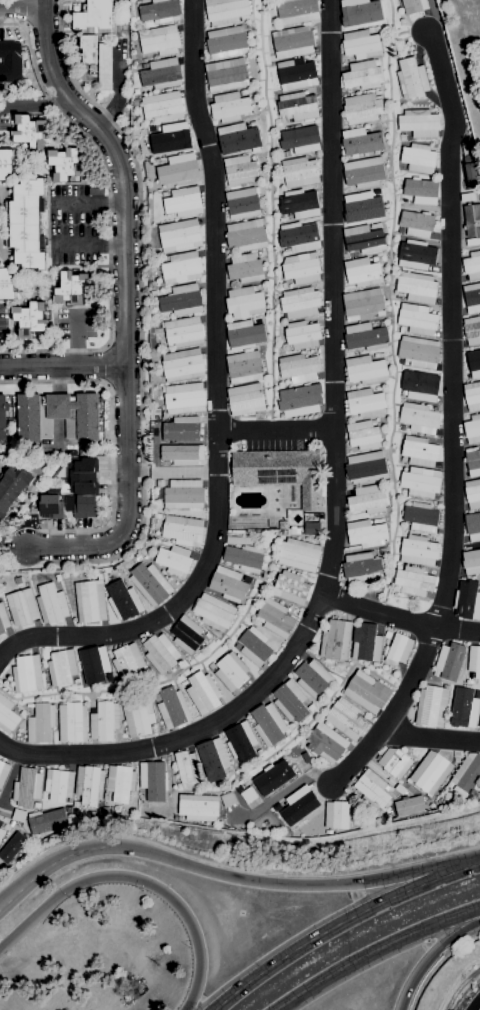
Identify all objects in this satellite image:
building: (414, 6)
road: (21, 9)
building: (225, 10)
building: (160, 11)
building: (297, 11)
building: (360, 12)
road: (24, 13)
building: (93, 17)
building: (375, 29)
building: (159, 40)
building: (226, 42)
building: (293, 42)
building: (407, 43)
building: (361, 44)
building: (88, 48)
building: (10, 61)
building: (104, 66)
building: (161, 73)
building: (226, 74)
building: (296, 74)
building: (362, 75)
building: (411, 78)
building: (0, 85)
building: (377, 91)
building: (135, 101)
road: (33, 106)
building: (162, 106)
building: (229, 106)
building: (297, 106)
building: (362, 108)
building: (419, 123)
building: (29, 131)
building: (238, 137)
building: (402, 137)
building: (171, 138)
building: (300, 139)
building: (362, 141)
building: (467, 145)
building: (286, 154)
building: (418, 158)
building: (6, 163)
building: (65, 164)
building: (178, 169)
building: (240, 170)
building: (300, 172)
building: (363, 172)
building: (472, 175)
building: (375, 191)
building: (164, 193)
building: (421, 193)
building: (467, 197)
road: (90, 200)
building: (183, 201)
building: (243, 202)
building: (299, 203)
building: (362, 207)
road: (109, 214)
building: (282, 219)
building: (472, 220)
building: (417, 223)
building: (27, 224)
building: (401, 231)
building: (179, 235)
building: (246, 235)
building: (298, 237)
building: (365, 238)
road: (89, 242)
building: (416, 254)
building: (374, 258)
road: (124, 262)
building: (472, 265)
building: (181, 267)
building: (245, 268)
building: (301, 268)
building: (362, 272)
building: (7, 284)
building: (71, 287)
building: (416, 287)
building: (472, 297)
building: (182, 300)
building: (244, 301)
building: (300, 302)
building: (363, 304)
building: (30, 318)
building: (417, 319)
building: (401, 329)
building: (472, 330)
building: (183, 331)
building: (245, 334)
building: (302, 334)
building: (366, 336)
building: (418, 352)
building: (378, 355)
building: (469, 362)
building: (182, 364)
road: (103, 365)
road: (63, 366)
building: (244, 366)
building: (298, 368)
building: (365, 369)
building: (420, 386)
building: (378, 388)
building: (472, 395)
building: (184, 398)
building: (245, 399)
building: (300, 400)
road: (215, 401)
building: (365, 402)
building: (57, 416)
building: (3, 417)
building: (418, 418)
road: (451, 421)
building: (472, 429)
building: (180, 430)
road: (275, 430)
building: (363, 434)
building: (419, 451)
building: (182, 456)
building: (472, 461)
building: (366, 467)
building: (280, 471)
road: (172, 473)
building: (80, 477)
building: (420, 481)
building: (160, 483)
building: (12, 486)
road: (334, 493)
building: (403, 493)
building: (472, 493)
building: (183, 494)
building: (367, 499)
building: (51, 505)
building: (82, 506)
road: (141, 515)
building: (420, 516)
building: (283, 525)
building: (473, 525)
building: (311, 528)
building: (182, 530)
building: (291, 530)
building: (250, 531)
building: (256, 531)
building: (366, 532)
building: (148, 540)
road: (68, 543)
road: (13, 544)
building: (382, 550)
building: (418, 550)
building: (244, 553)
building: (299, 554)
building: (137, 557)
building: (174, 560)
building: (471, 562)
building: (362, 566)
building: (118, 567)
building: (57, 577)
building: (247, 579)
building: (413, 581)
building: (150, 584)
building: (228, 584)
building: (291, 587)
building: (123, 600)
building: (467, 600)
building: (90, 601)
building: (51, 603)
building: (21, 607)
building: (213, 612)
road: (400, 617)
building: (275, 618)
building: (3, 619)
building: (186, 634)
building: (207, 635)
building: (335, 640)
building: (366, 643)
building: (236, 646)
building: (254, 646)
building: (398, 649)
building: (160, 653)
building: (449, 661)
building: (474, 661)
building: (128, 662)
building: (94, 664)
building: (61, 667)
building: (231, 671)
building: (26, 673)
building: (110, 677)
building: (312, 678)
building: (76, 680)
building: (183, 682)
building: (203, 692)
building: (367, 692)
building: (477, 694)
building: (290, 701)
building: (29, 705)
building: (432, 706)
building: (172, 707)
building: (310, 707)
building: (464, 709)
building: (21, 712)
building: (7, 715)
building: (138, 716)
building: (346, 718)
building: (104, 720)
building: (72, 722)
building: (40, 723)
building: (268, 724)
building: (479, 725)
road: (430, 738)
building: (241, 741)
building: (326, 743)
building: (259, 751)
building: (213, 759)
building: (394, 762)
building: (187, 769)
building: (3, 772)
building: (430, 773)
building: (466, 775)
building: (273, 777)
building: (153, 780)
road: (10, 781)
building: (120, 783)
building: (89, 784)
building: (59, 785)
building: (27, 787)
building: (372, 788)
road: (282, 792)
building: (249, 797)
building: (141, 798)
building: (227, 799)
building: (75, 804)
building: (36, 805)
building: (299, 805)
building: (197, 807)
building: (277, 807)
building: (410, 807)
building: (105, 810)
building: (337, 814)
building: (19, 815)
building: (175, 817)
building: (46, 821)
building: (1, 823)
building: (11, 823)
building: (327, 832)
building: (2, 833)
building: (37, 840)
building: (11, 846)
road: (472, 864)
road: (232, 867)
road: (221, 873)
road: (136, 879)
road: (332, 926)
road: (402, 949)
road: (374, 951)

